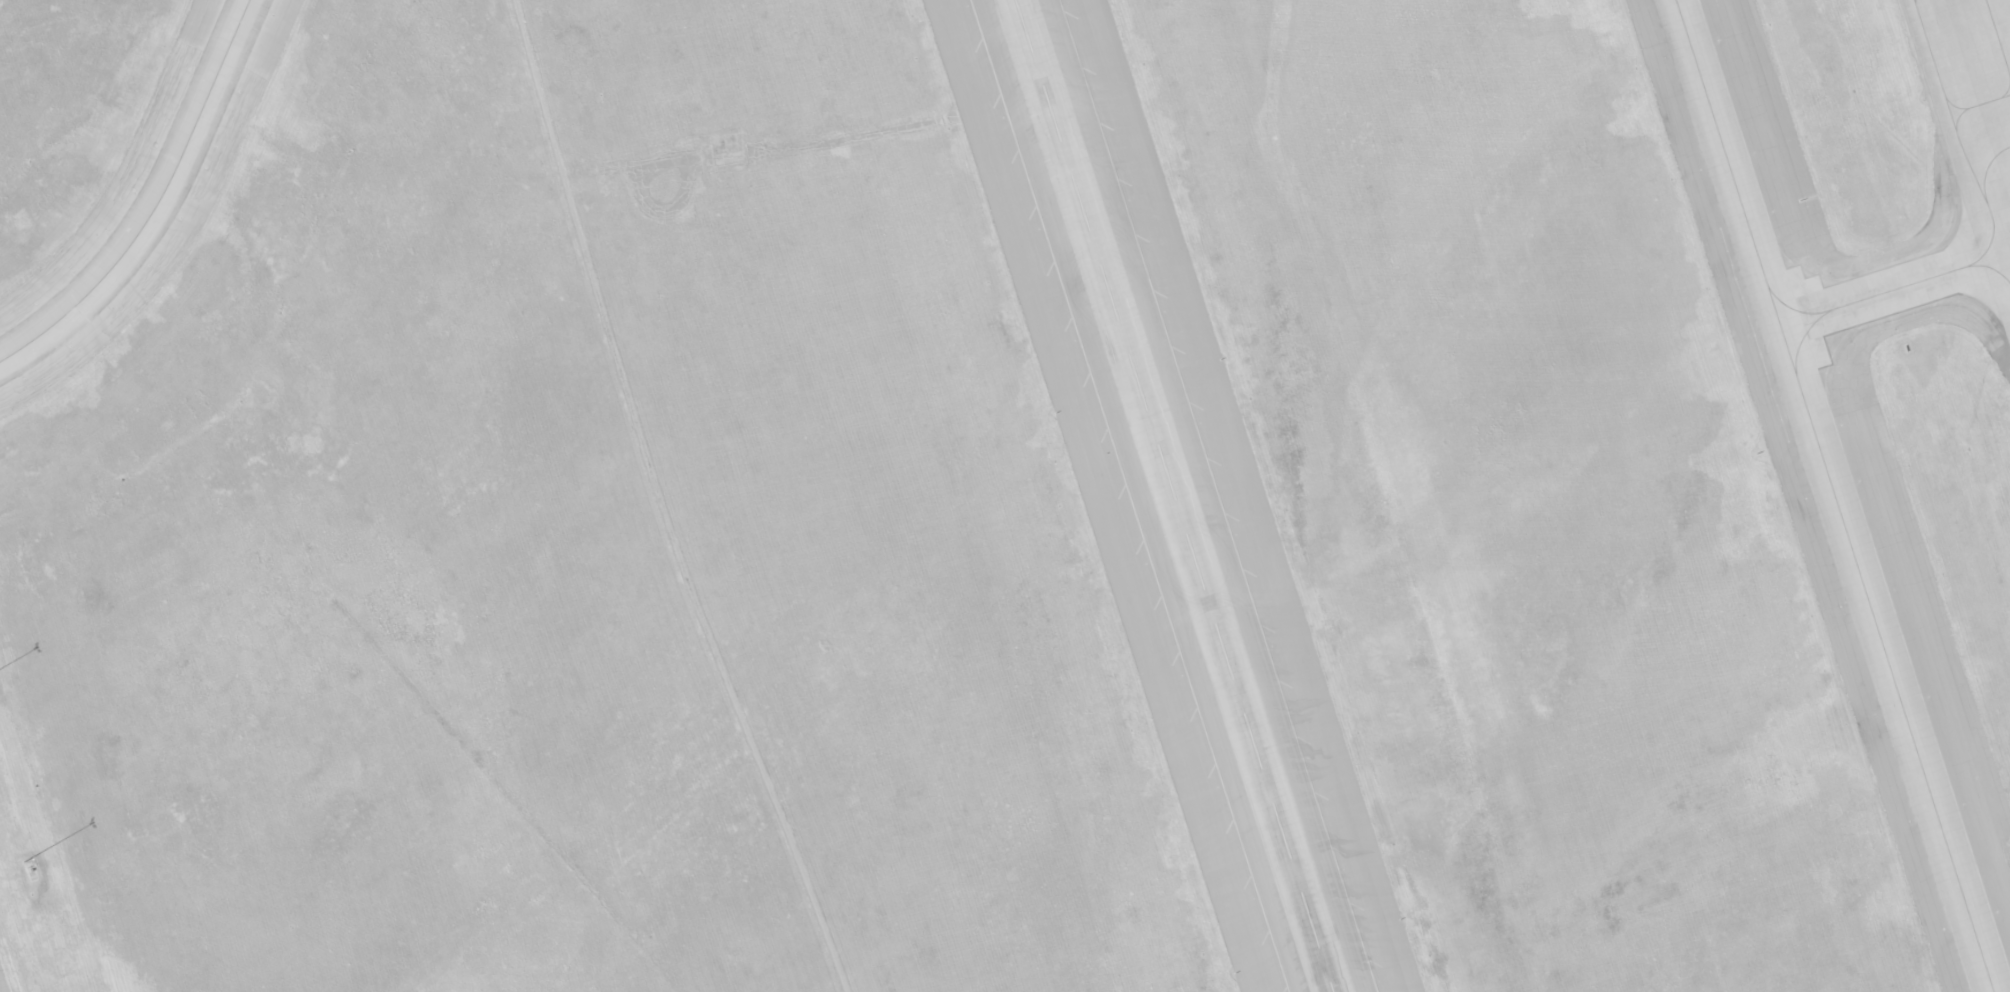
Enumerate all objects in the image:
airport apron: (1969, 125)
airport taxiway: (155, 203)
airport taxiway: (1898, 289)
airport taxiway: (1822, 314)
airport: (1005, 496)
airport runway: (1172, 496)
airport taxiway: (1833, 496)
airport apron: (3, 981)

